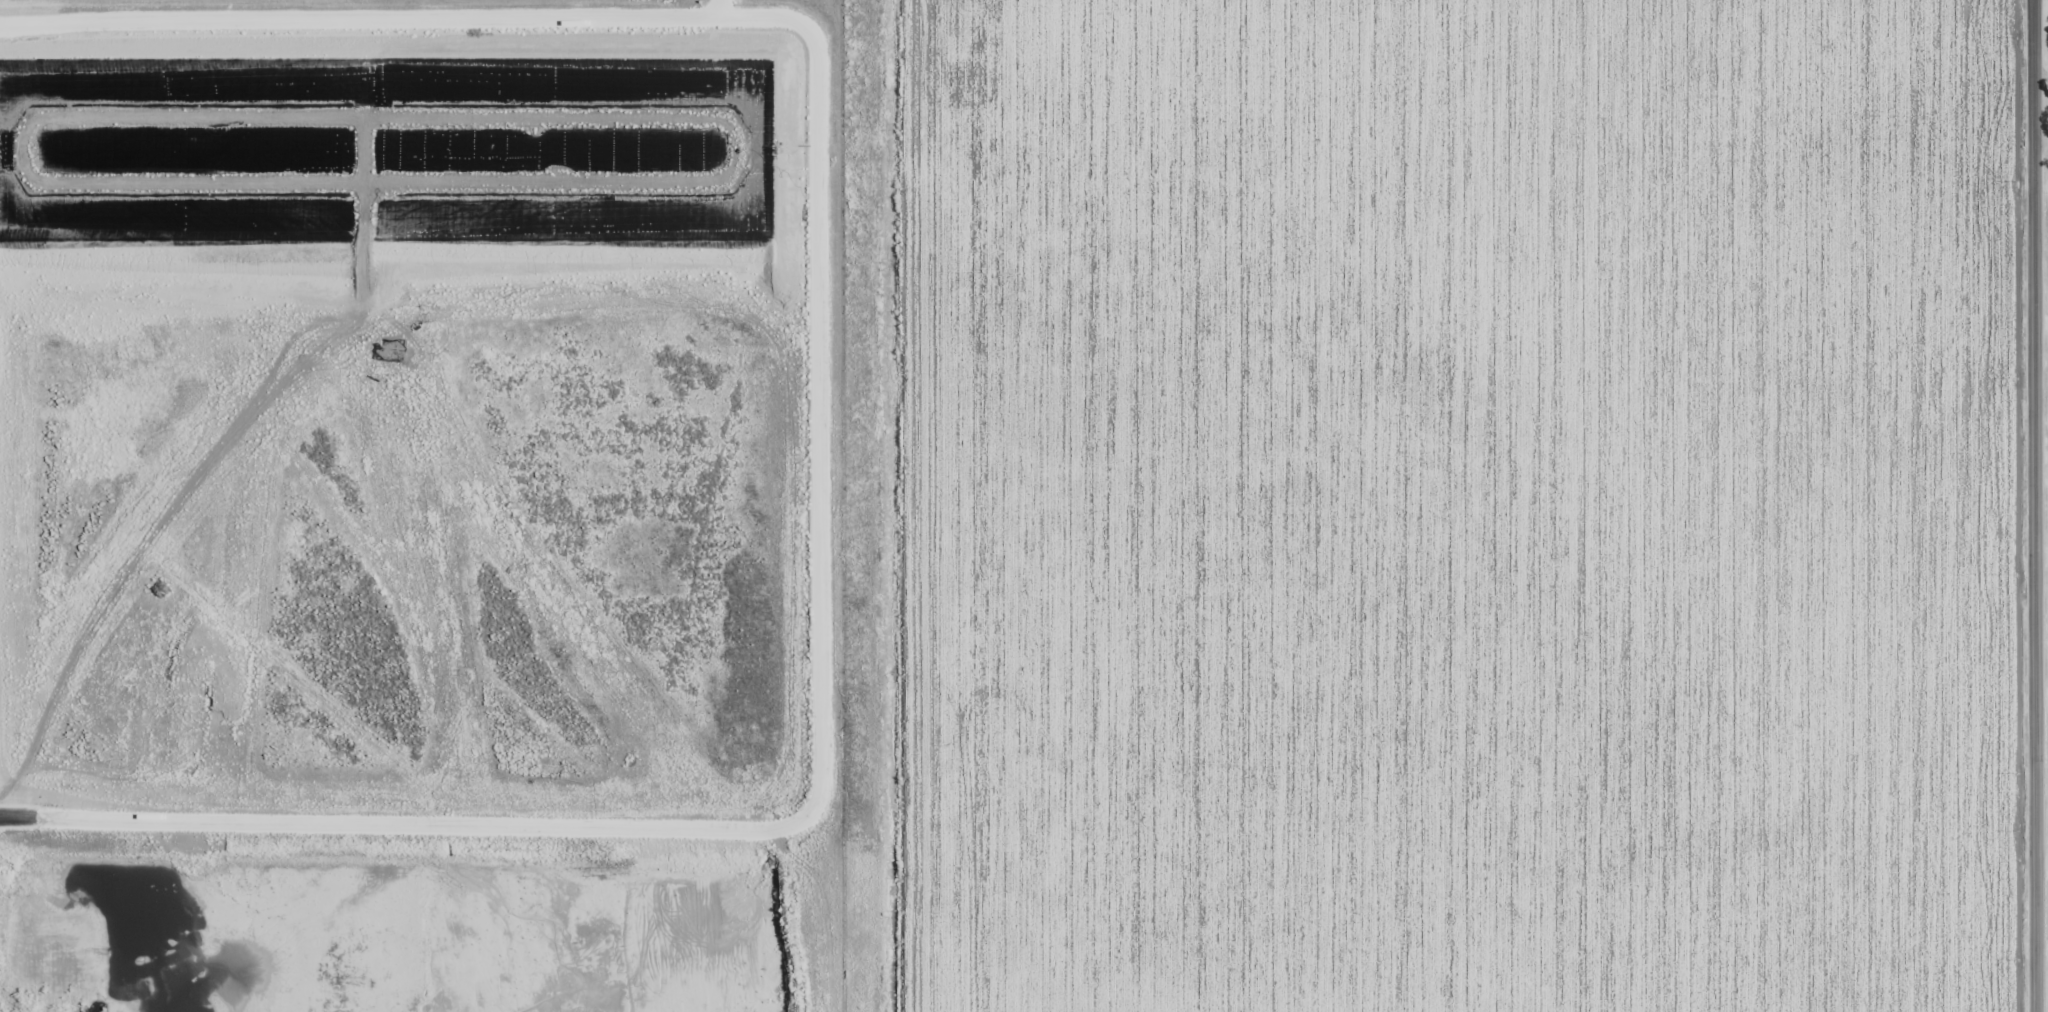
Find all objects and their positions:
road: (2032, 506)

